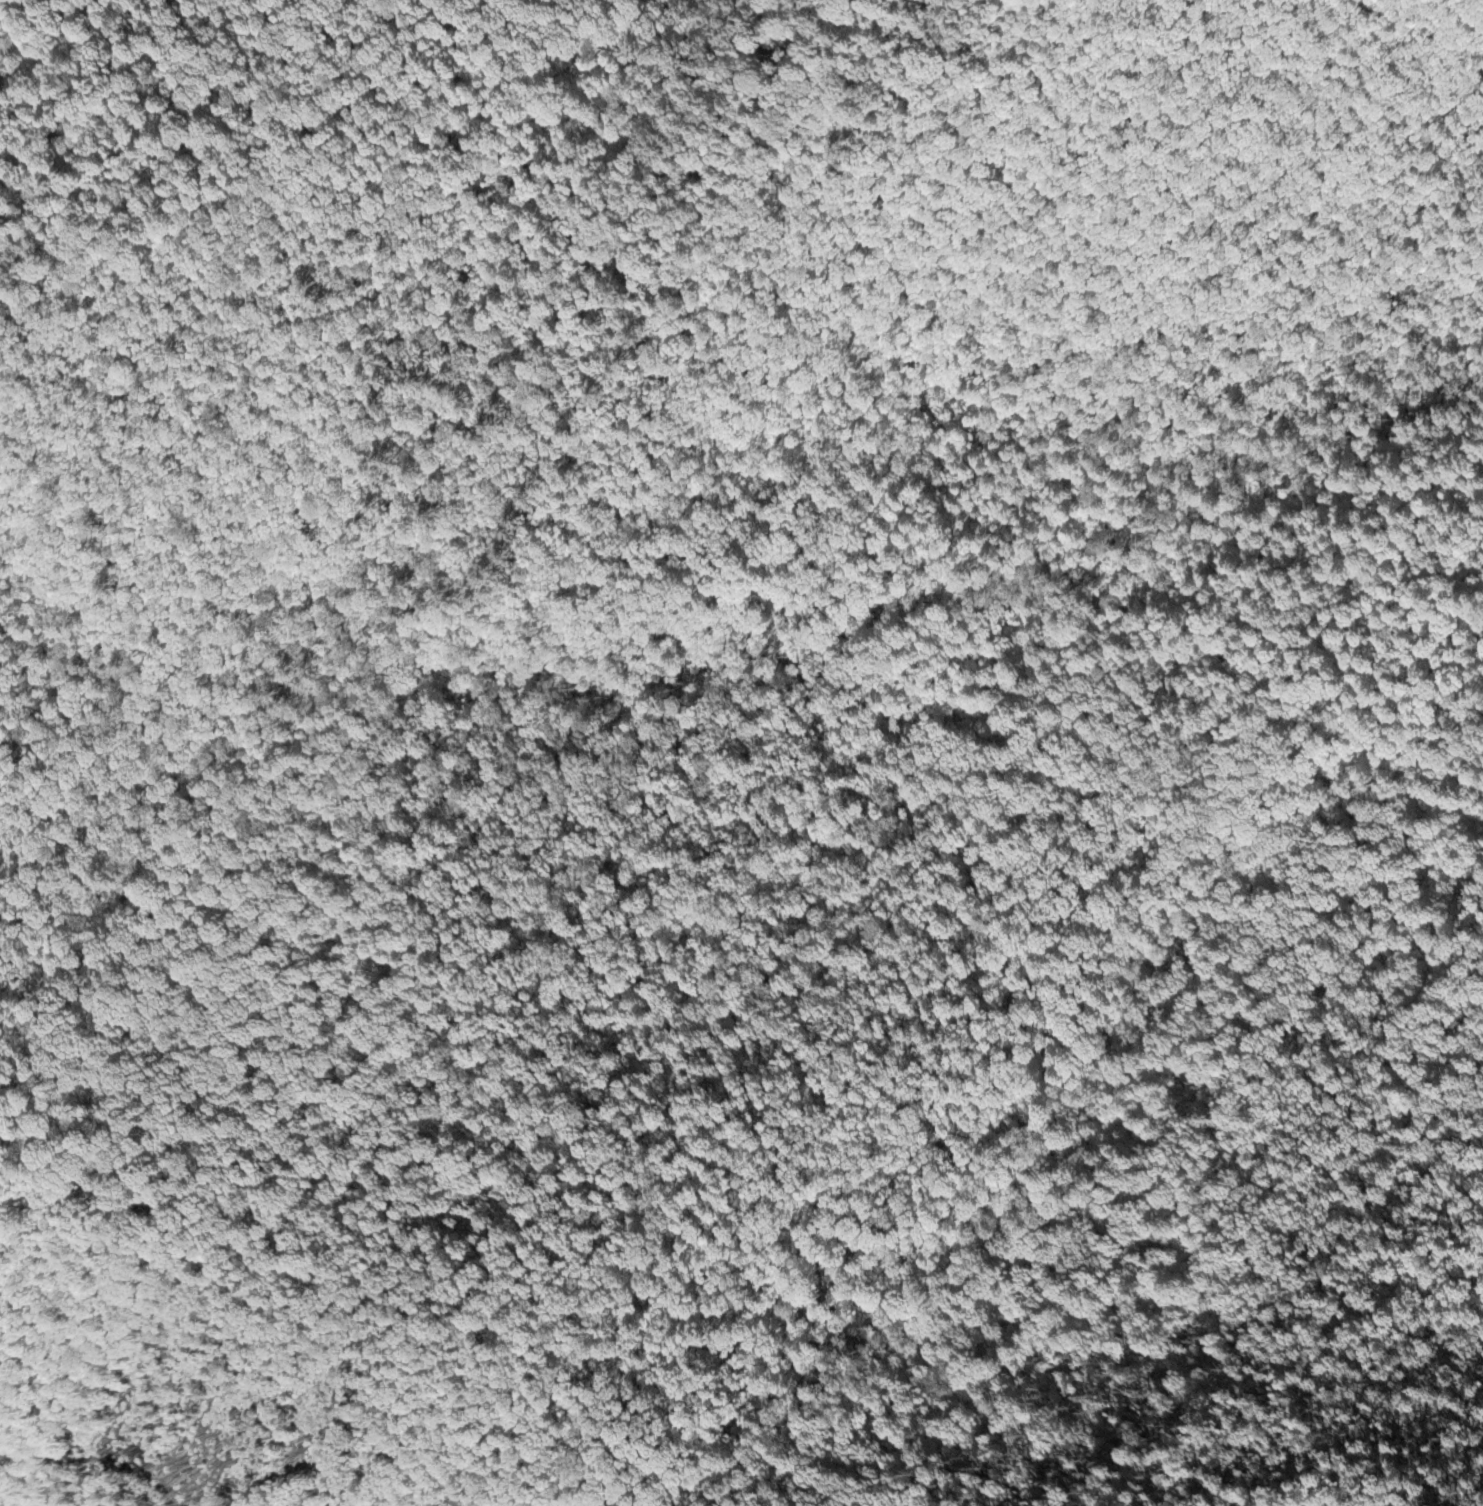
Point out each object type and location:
road: (344, 1302)
road: (1286, 1493)

